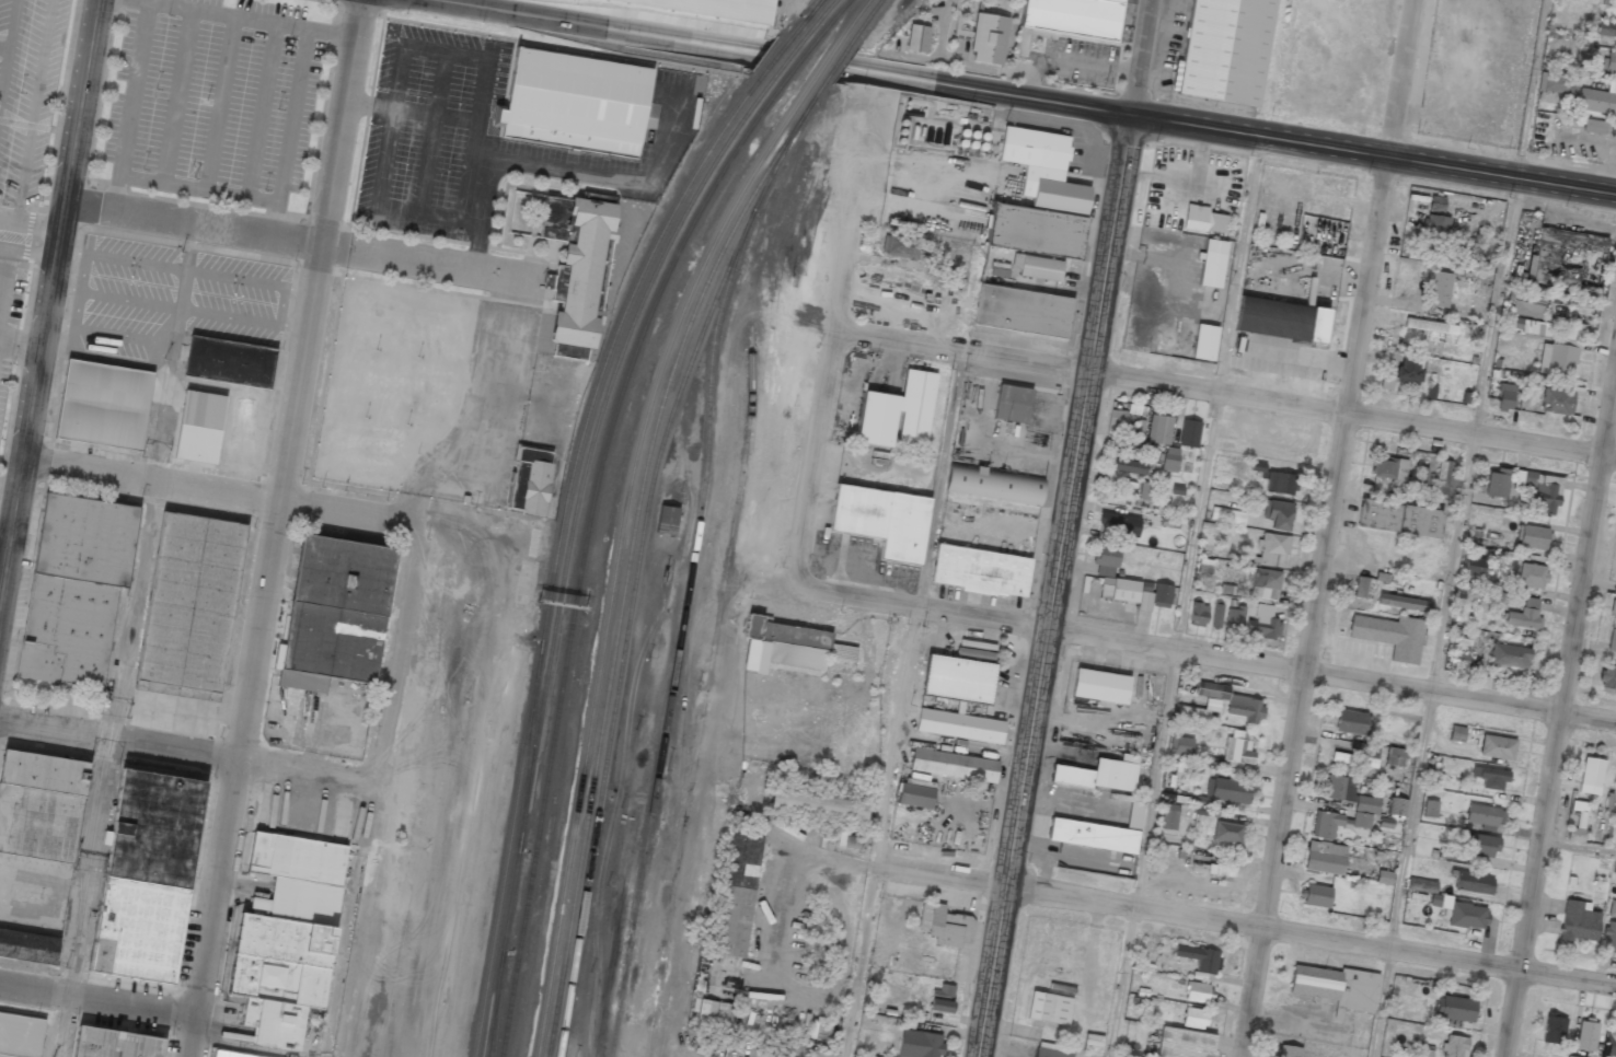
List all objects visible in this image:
building: (718, 8)
railway: (811, 10)
railway: (807, 16)
building: (1074, 16)
railway: (821, 18)
railway: (833, 19)
railway: (853, 20)
railway: (864, 21)
building: (1606, 28)
building: (917, 38)
building: (989, 38)
road: (4, 48)
road: (8, 50)
building: (1224, 50)
railway: (775, 57)
road: (1143, 58)
railway: (788, 59)
road: (773, 60)
railway: (799, 60)
building: (1609, 62)
railway: (823, 63)
railway: (834, 65)
building: (1556, 83)
parking lot: (27, 91)
parking lot: (215, 97)
building: (1597, 100)
building: (574, 103)
road: (35, 112)
building: (1595, 127)
road: (1375, 155)
building: (1043, 169)
building: (1436, 205)
building: (1215, 223)
road: (28, 224)
road: (984, 224)
building: (1435, 224)
road: (194, 225)
building: (1035, 230)
building: (899, 246)
road: (3, 248)
road: (8, 249)
building: (1442, 252)
building: (1212, 263)
building: (1037, 267)
building: (580, 271)
road: (844, 281)
road: (0, 288)
building: (1439, 289)
parking lot: (171, 297)
road: (48, 299)
building: (1023, 311)
parking lot: (9, 320)
building: (1281, 320)
building: (1430, 326)
building: (1204, 342)
building: (1549, 344)
road: (1490, 347)
building: (229, 361)
building: (1409, 369)
building: (1504, 396)
road: (1225, 400)
building: (1556, 402)
building: (104, 404)
building: (1012, 404)
building: (898, 411)
building: (200, 426)
building: (1159, 429)
building: (1189, 433)
building: (1169, 458)
road: (813, 465)
building: (1128, 465)
building: (1390, 468)
building: (1445, 478)
road: (943, 479)
building: (531, 480)
building: (1280, 483)
building: (1496, 483)
building: (994, 484)
building: (1146, 490)
building: (1540, 490)
road: (210, 492)
building: (1278, 514)
building: (1227, 515)
building: (1398, 518)
building: (667, 520)
building: (882, 520)
building: (1119, 524)
road: (275, 527)
road: (1330, 528)
building: (1532, 537)
railway: (556, 548)
railway: (567, 548)
building: (1273, 549)
railway: (584, 550)
railway: (620, 554)
railway: (631, 555)
building: (1106, 559)
building: (1474, 566)
building: (981, 571)
building: (344, 573)
building: (1532, 576)
railway: (636, 579)
building: (1265, 583)
road: (1601, 585)
road: (1058, 586)
building: (1363, 586)
building: (76, 589)
building: (1119, 590)
building: (1154, 595)
road: (1184, 596)
building: (192, 601)
building: (1404, 602)
building: (1613, 608)
building: (1198, 614)
building: (1524, 615)
building: (1216, 616)
building: (1234, 618)
building: (1262, 624)
building: (1390, 636)
building: (333, 640)
building: (1612, 641)
building: (783, 646)
building: (842, 652)
building: (1509, 655)
road: (1217, 659)
building: (1458, 659)
railway: (707, 674)
building: (1607, 677)
building: (958, 678)
building: (1100, 686)
building: (1211, 700)
building: (1244, 708)
building: (1351, 722)
road: (1561, 724)
building: (959, 725)
road: (117, 740)
building: (1180, 745)
building: (1238, 747)
building: (1497, 747)
building: (1358, 755)
building: (1395, 756)
building: (1209, 760)
building: (953, 765)
building: (1100, 774)
building: (1591, 776)
building: (1490, 777)
building: (1338, 788)
building: (916, 793)
building: (1221, 793)
building: (41, 804)
building: (1366, 804)
building: (818, 805)
building: (1430, 808)
building: (1134, 815)
building: (1484, 815)
building: (1169, 816)
building: (1338, 823)
road: (882, 832)
building: (1227, 832)
building: (1574, 834)
building: (1093, 835)
road: (1579, 846)
building: (1325, 857)
building: (147, 875)
road: (1404, 875)
building: (1383, 878)
building: (1473, 882)
building: (1421, 885)
building: (738, 895)
building: (1316, 895)
building: (1612, 908)
building: (1461, 913)
road: (1202, 914)
building: (290, 920)
building: (1578, 921)
building: (945, 925)
building: (1608, 937)
building: (28, 945)
building: (1198, 960)
building: (1199, 991)
building: (942, 998)
road: (97, 1003)
building: (1049, 1008)
building: (1455, 1009)
building: (714, 1017)
building: (1194, 1018)
building: (1554, 1027)
building: (21, 1034)
building: (1586, 1034)
building: (1611, 1041)
building: (115, 1043)
building: (1184, 1043)
building: (919, 1044)
building: (1454, 1046)
building: (1422, 1049)
building: (1051, 1050)
building: (1289, 1050)
building: (229, 1055)
building: (1568, 1056)

